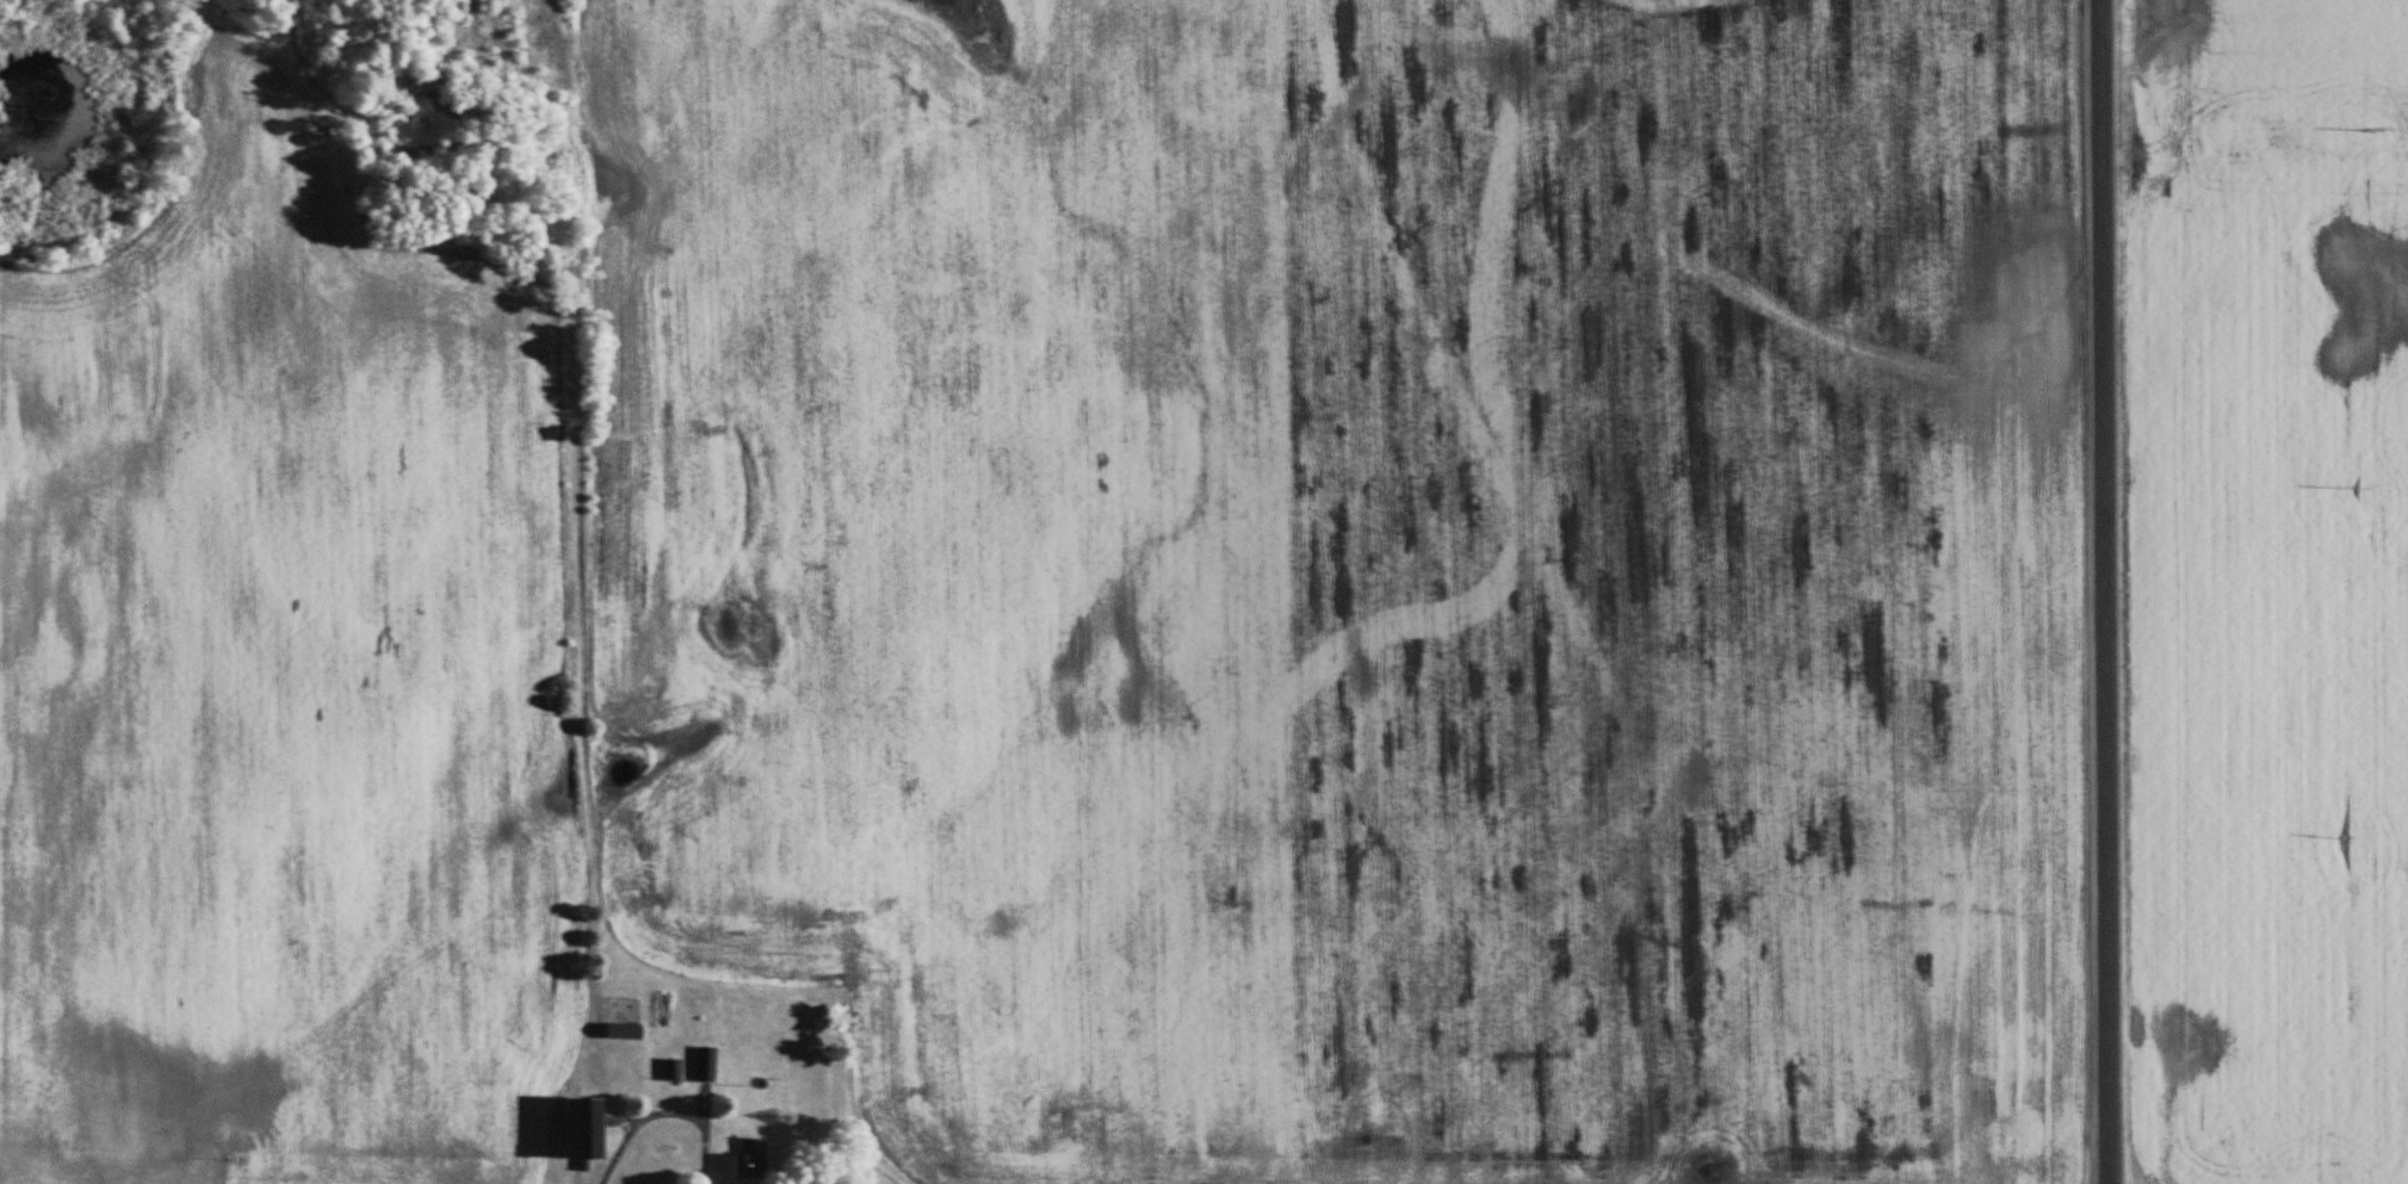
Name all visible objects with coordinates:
road: (2106, 591)
building: (660, 1011)
building: (620, 1034)
building: (704, 1066)
building: (670, 1072)
road: (670, 1114)
building: (580, 1130)
building: (745, 1161)

